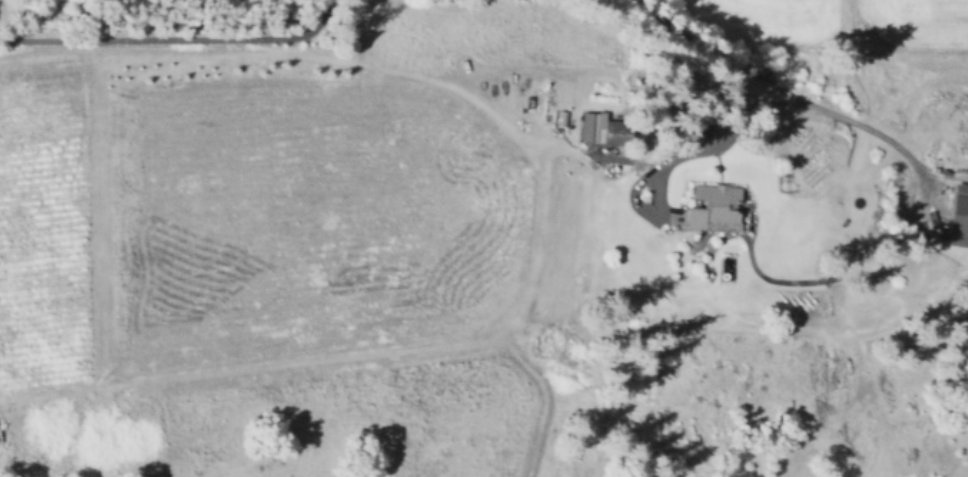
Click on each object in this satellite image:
crop: (907, 27)
road: (173, 38)
road: (859, 64)
road: (777, 87)
building: (619, 132)
road: (717, 137)
road: (945, 175)
building: (713, 208)
building: (959, 218)

